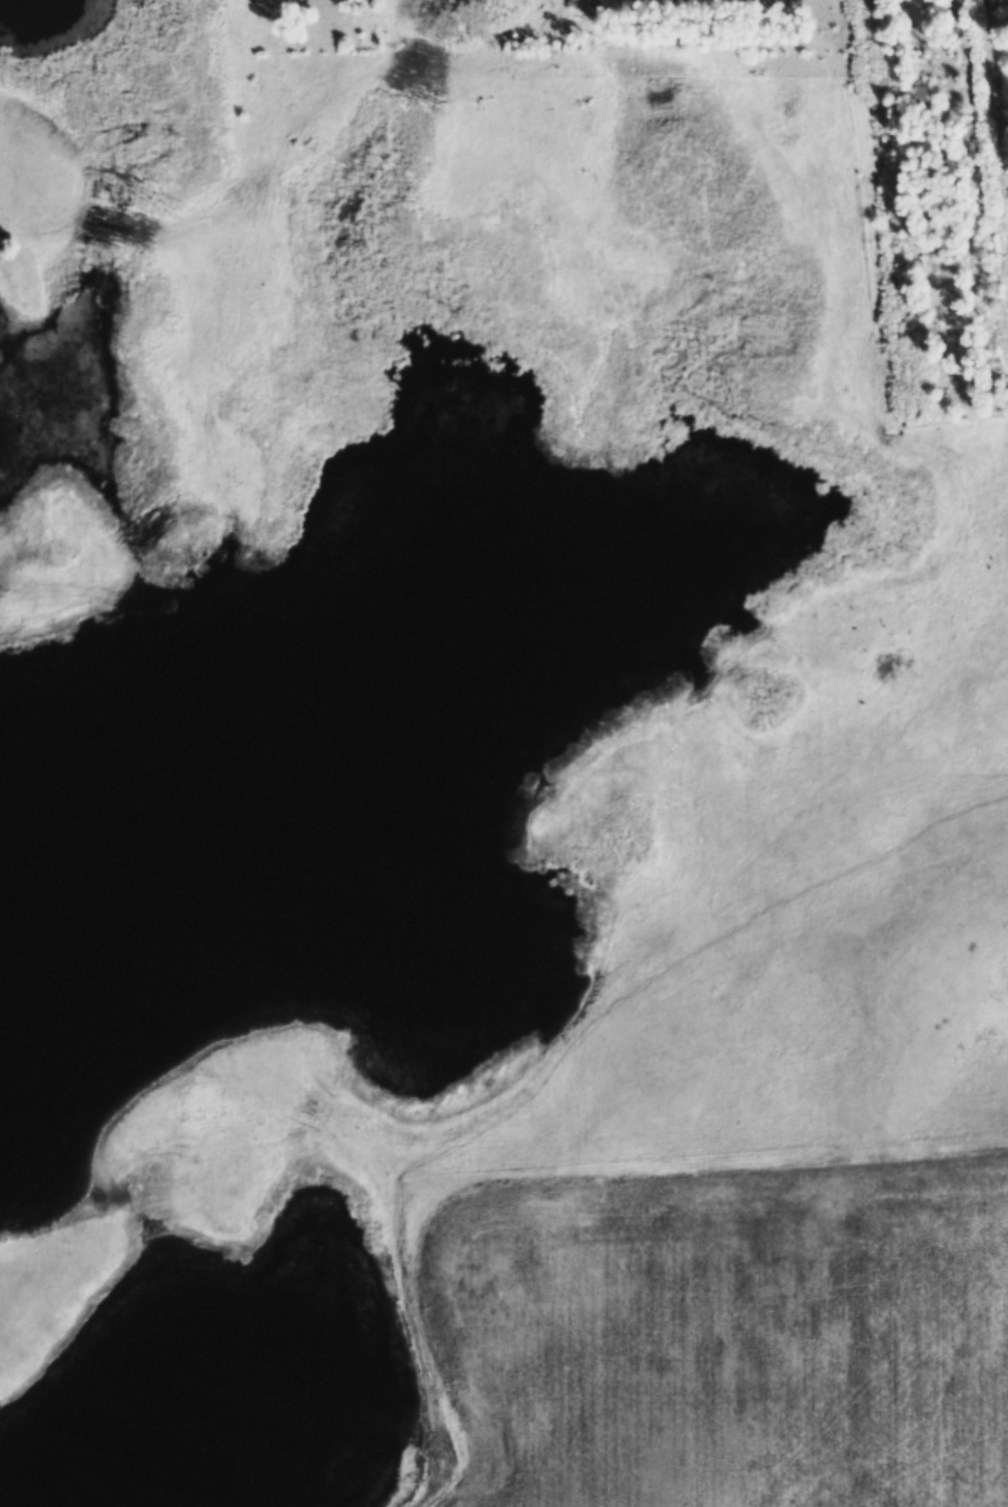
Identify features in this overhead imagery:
road: (577, 1167)

